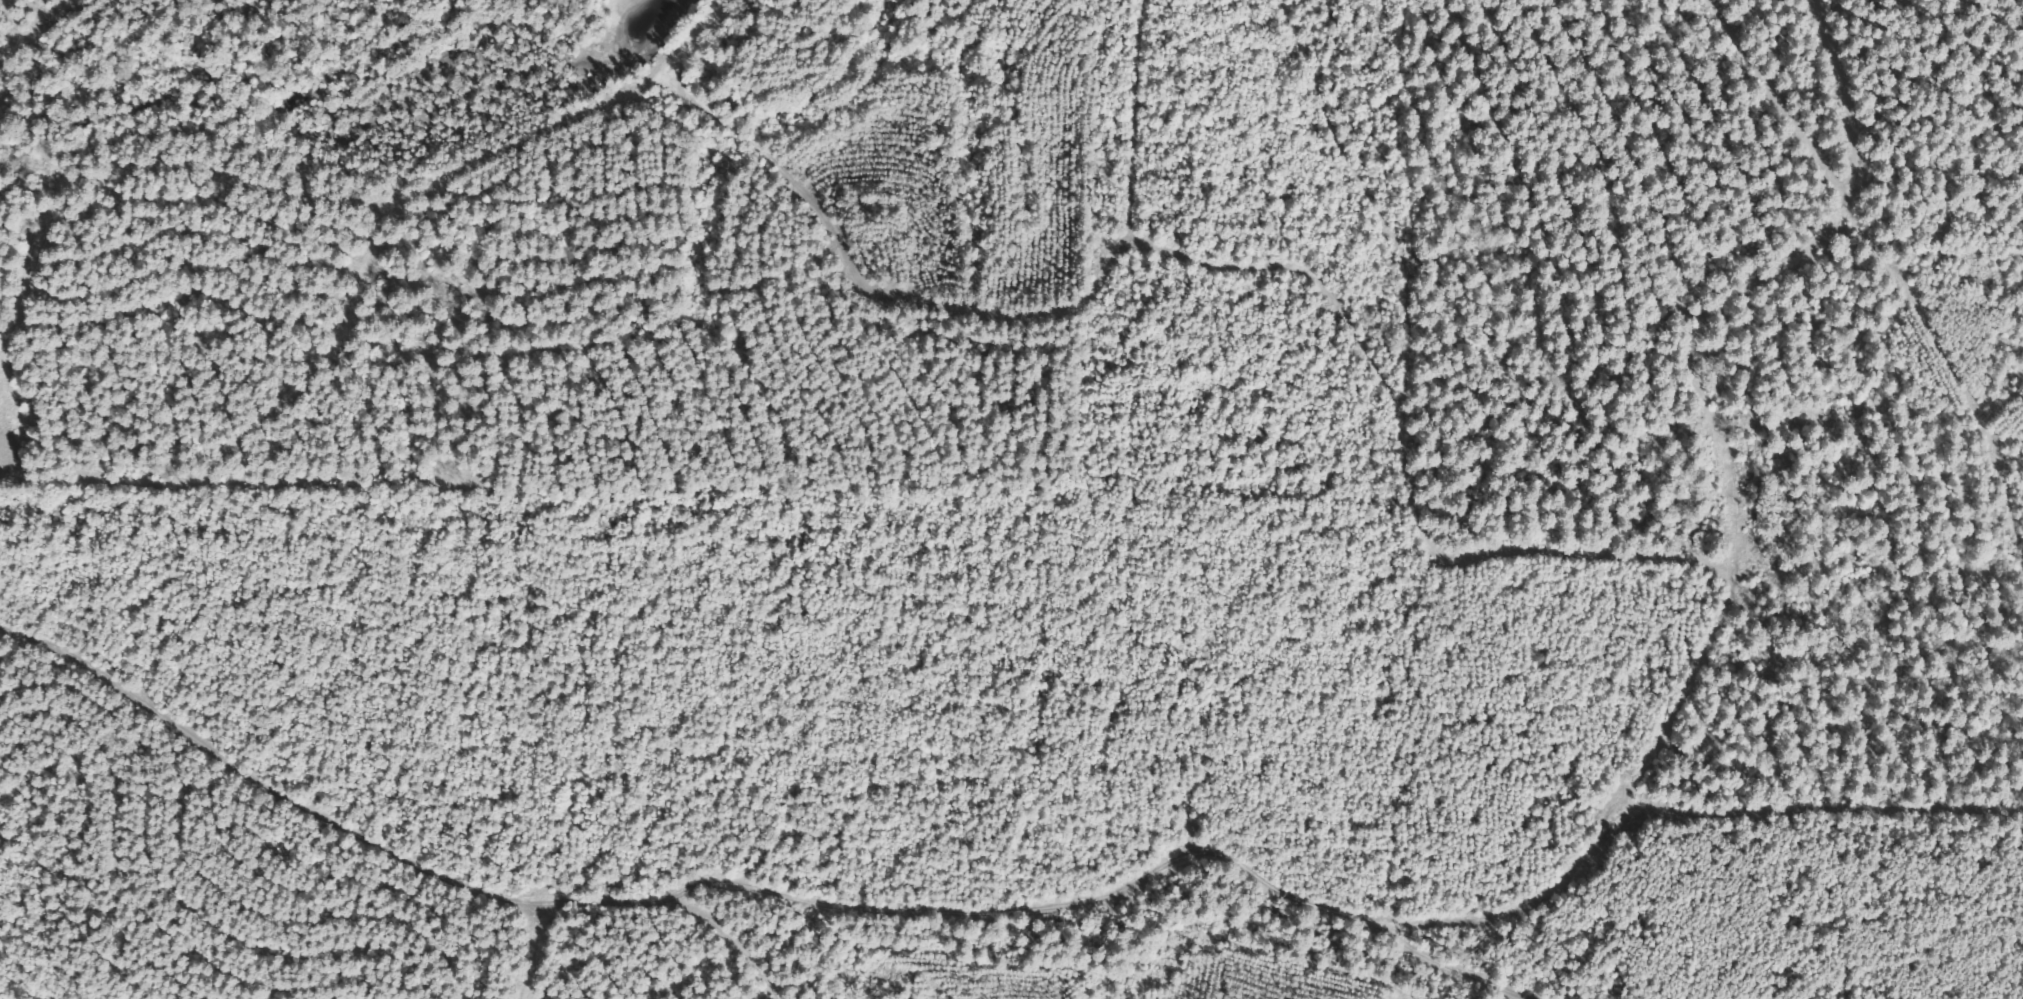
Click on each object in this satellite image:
road: (1879, 297)

